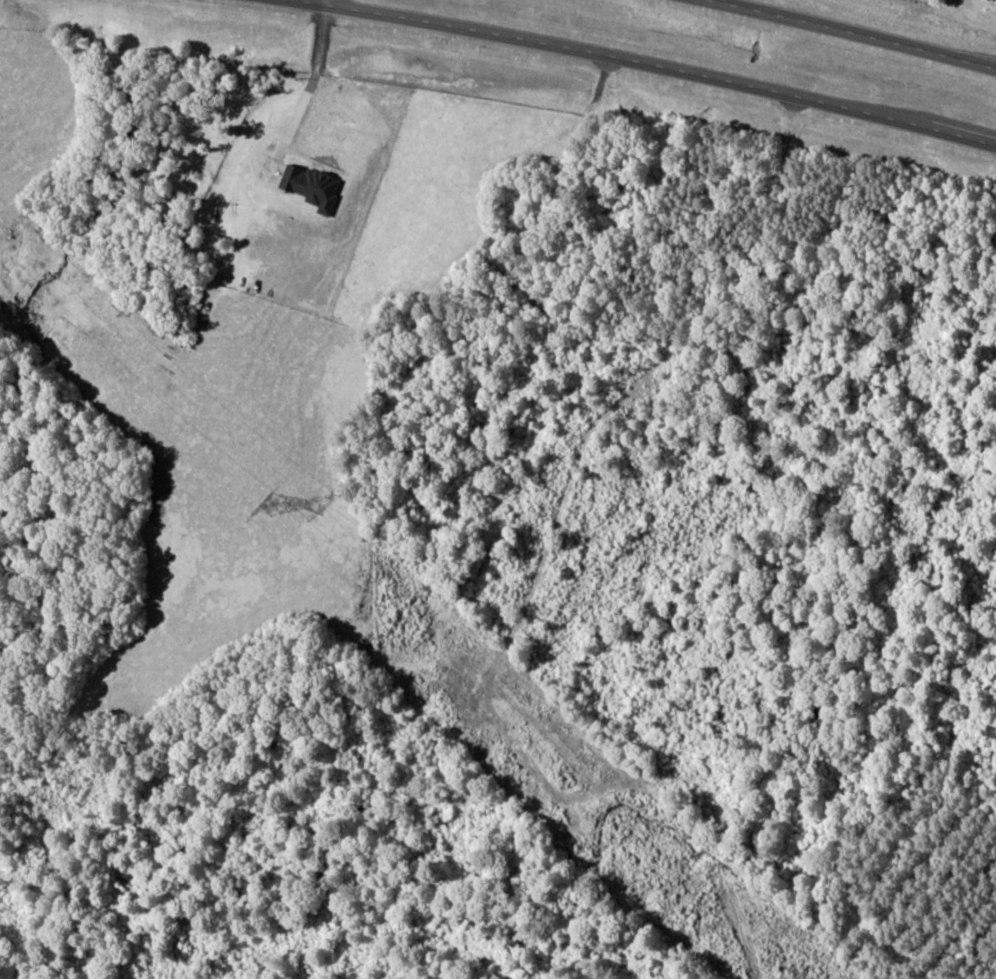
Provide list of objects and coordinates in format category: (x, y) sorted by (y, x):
building: (988, 0)
road: (320, 2)
road: (849, 32)
road: (644, 64)
power tower: (273, 507)

